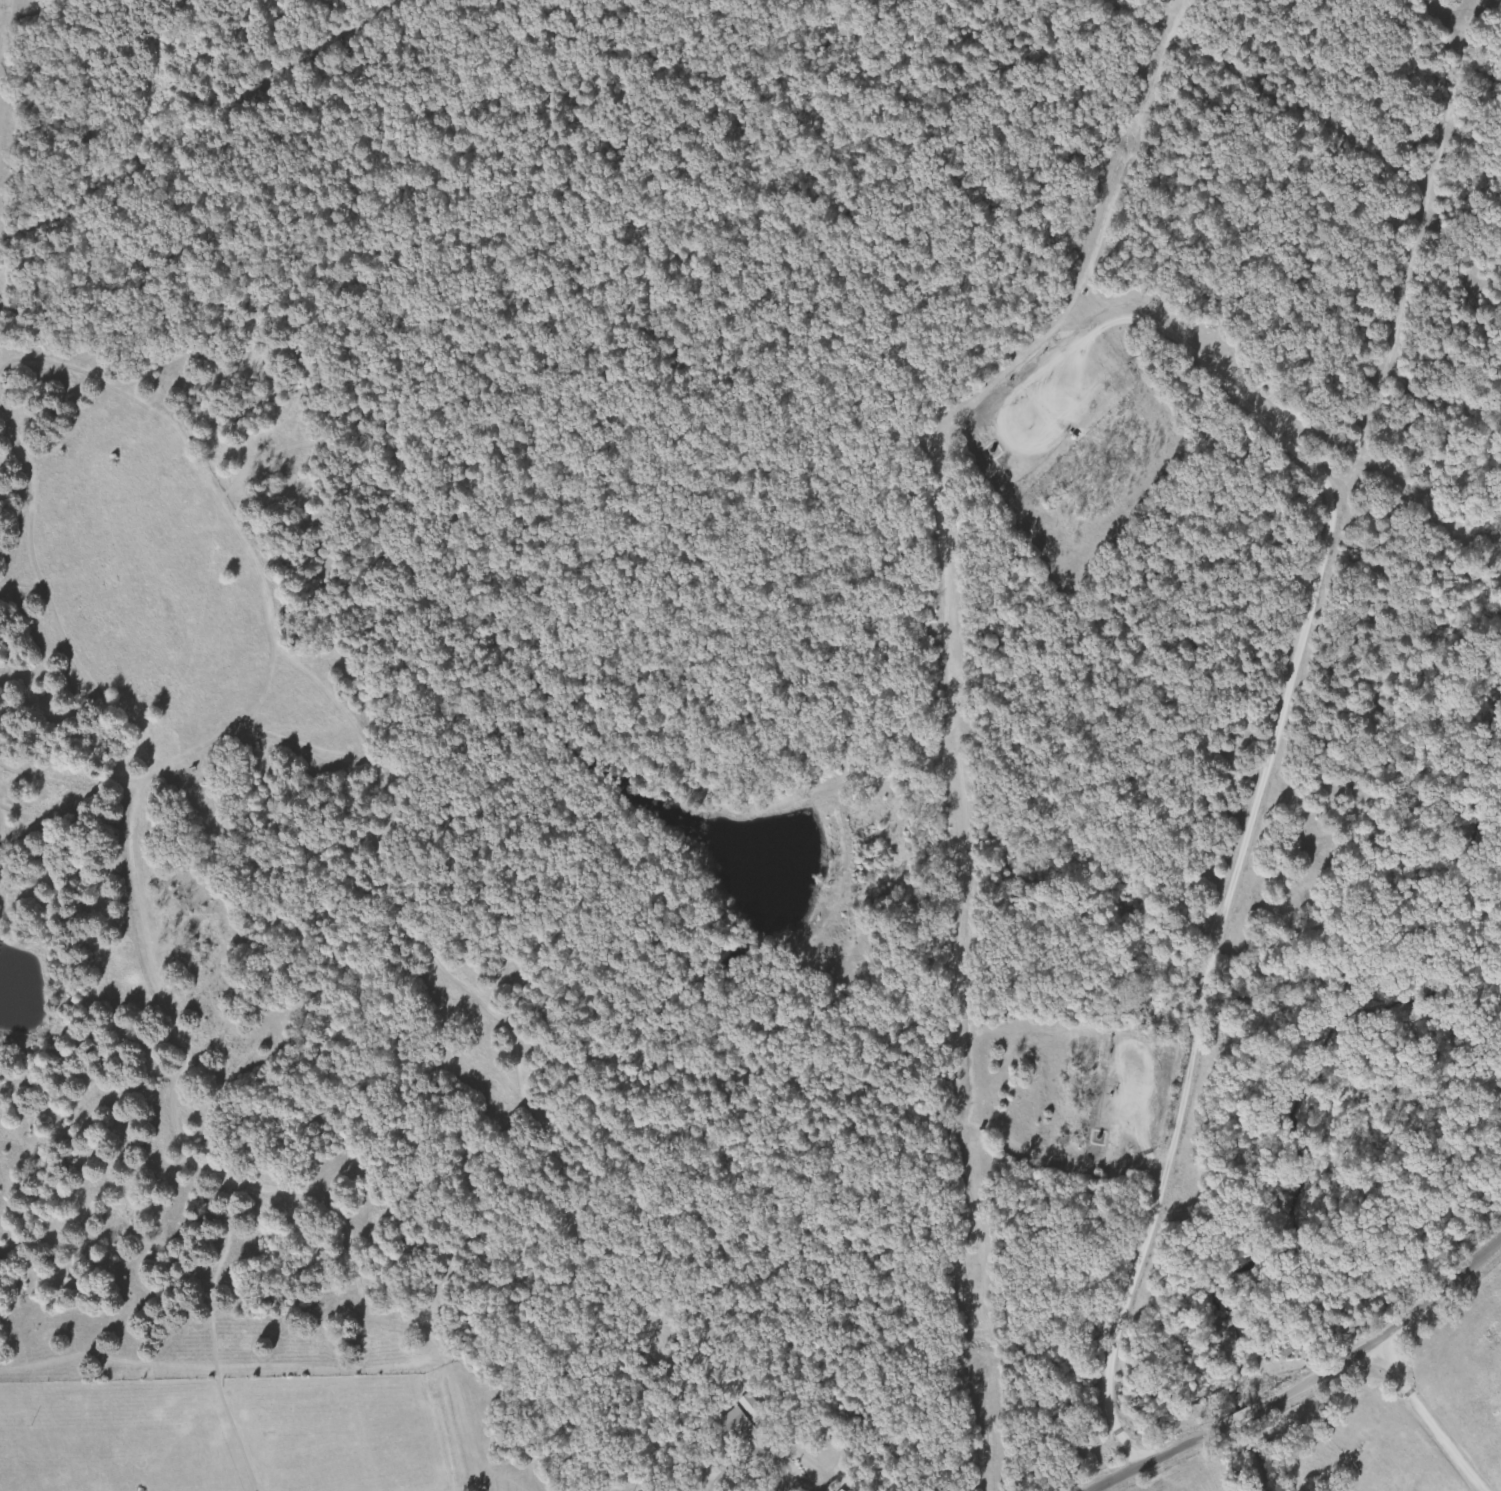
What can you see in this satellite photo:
road: (1311, 1383)
building: (752, 1408)
road: (1416, 1420)
building: (740, 1425)

